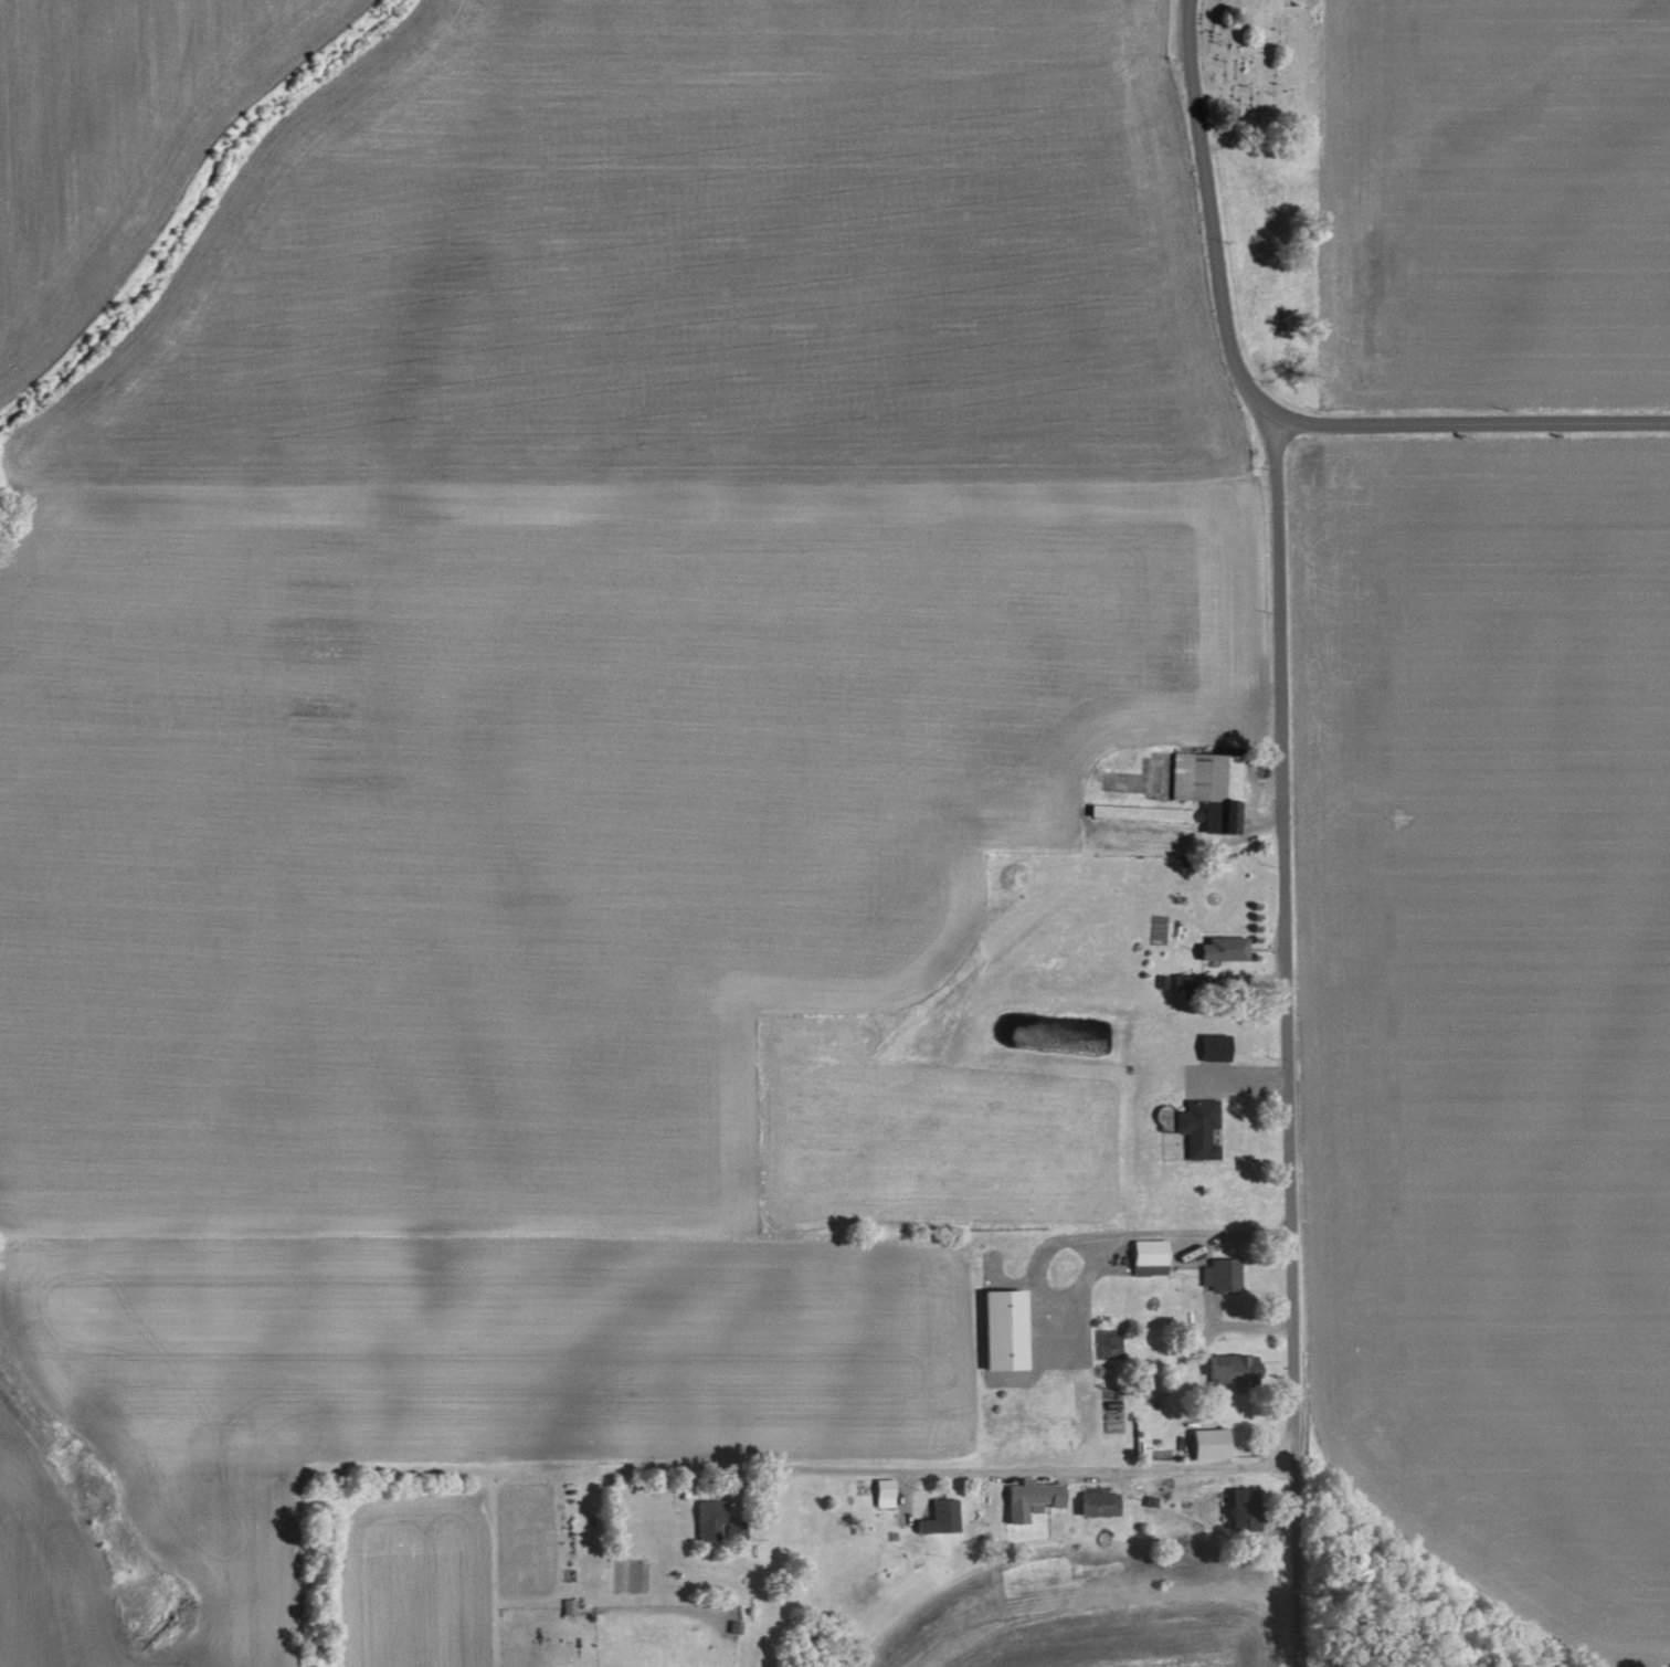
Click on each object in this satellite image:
road: (1473, 420)
building: (1207, 788)
road: (1285, 824)
building: (1217, 952)
building: (1211, 1046)
building: (1196, 1128)
road: (1092, 1238)
building: (1146, 1253)
building: (1218, 1274)
road: (1245, 1326)
building: (997, 1329)
building: (1229, 1368)
building: (1203, 1444)
road: (1036, 1467)
building: (881, 1492)
building: (1097, 1504)
building: (1238, 1507)
building: (939, 1517)
building: (708, 1519)
building: (738, 1531)
building: (568, 1606)

